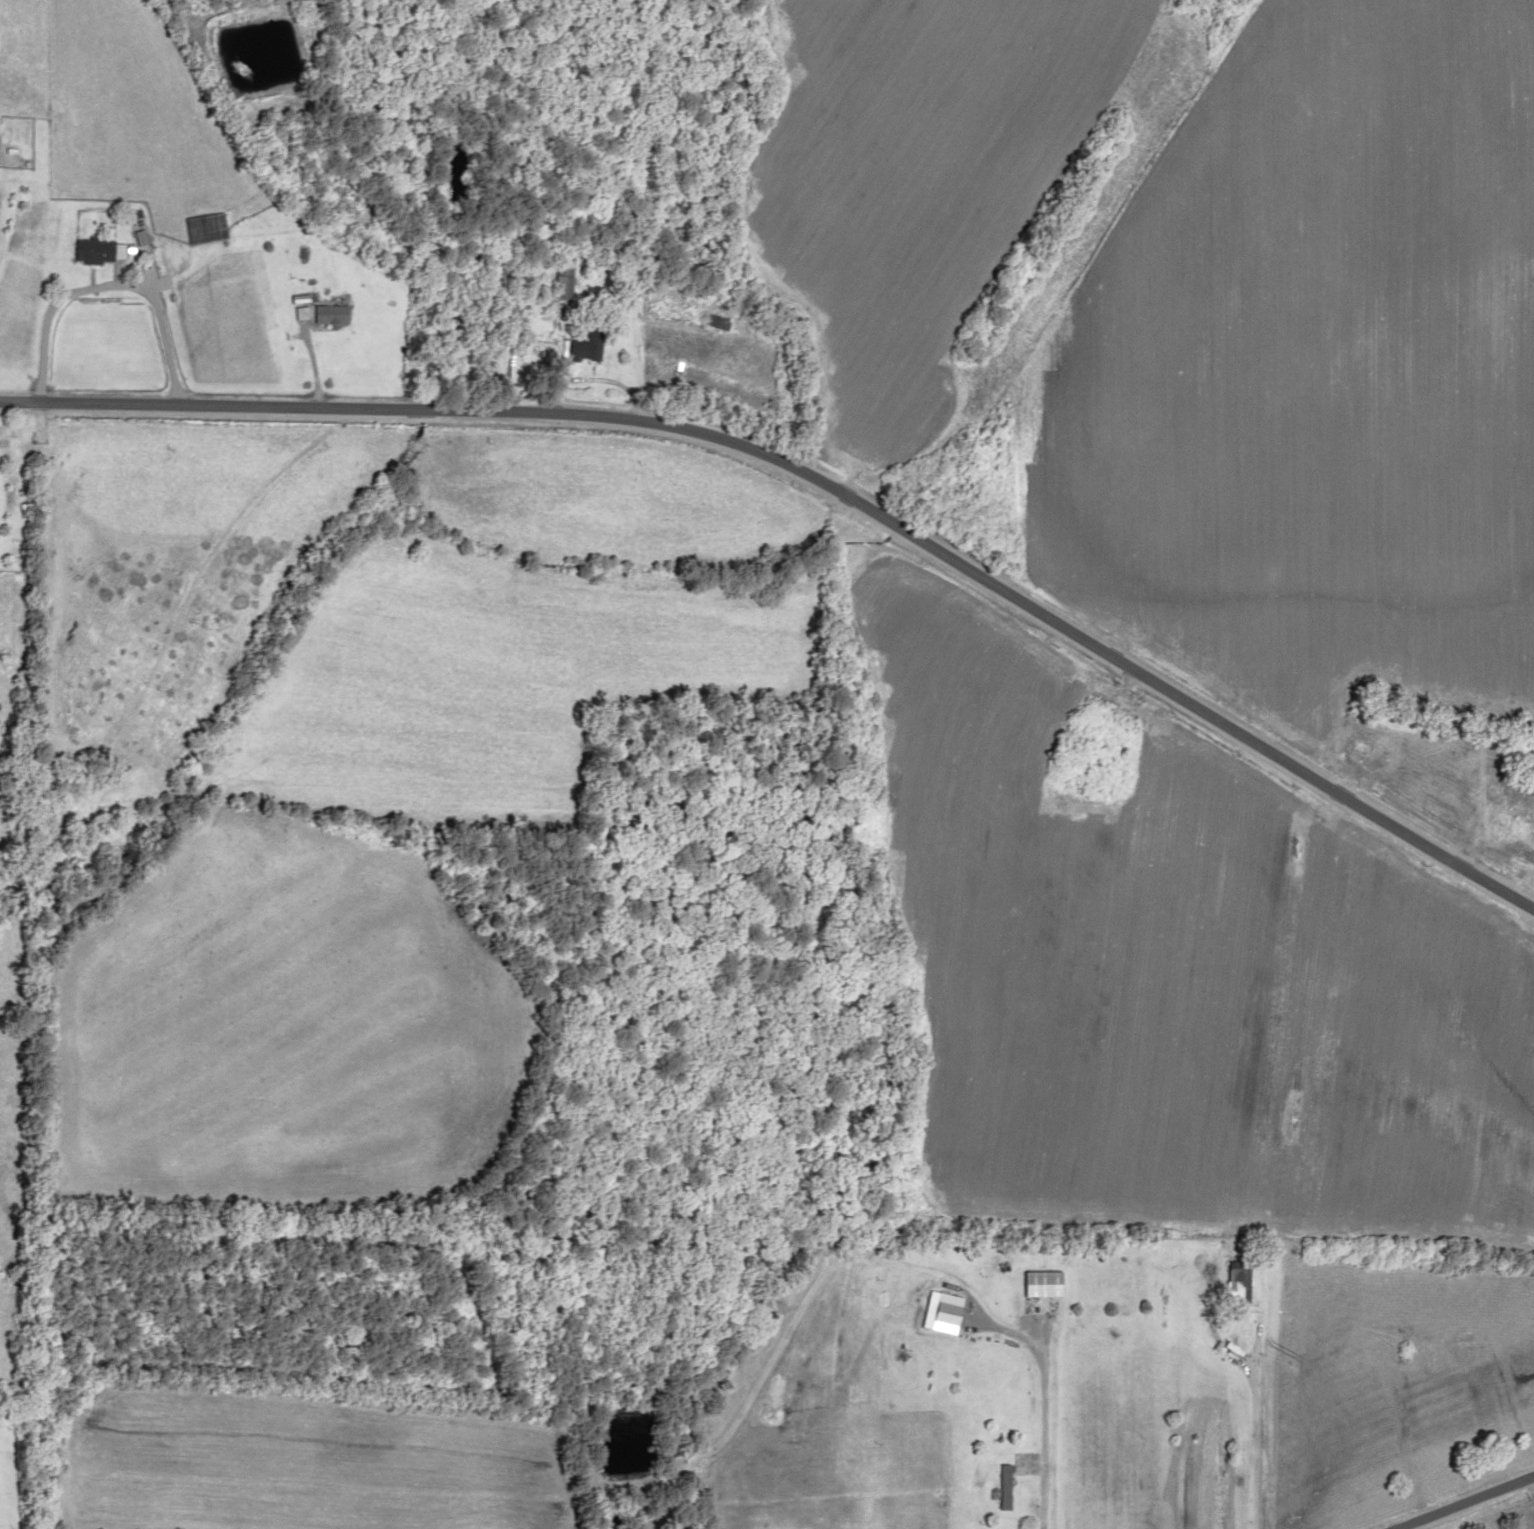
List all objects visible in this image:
building: (201, 227)
building: (88, 250)
building: (560, 281)
building: (327, 313)
building: (712, 320)
building: (585, 343)
building: (511, 363)
road: (821, 484)
building: (1233, 1282)
building: (1037, 1284)
building: (936, 1313)
road: (1239, 1317)
building: (999, 1487)
road: (1470, 1503)

